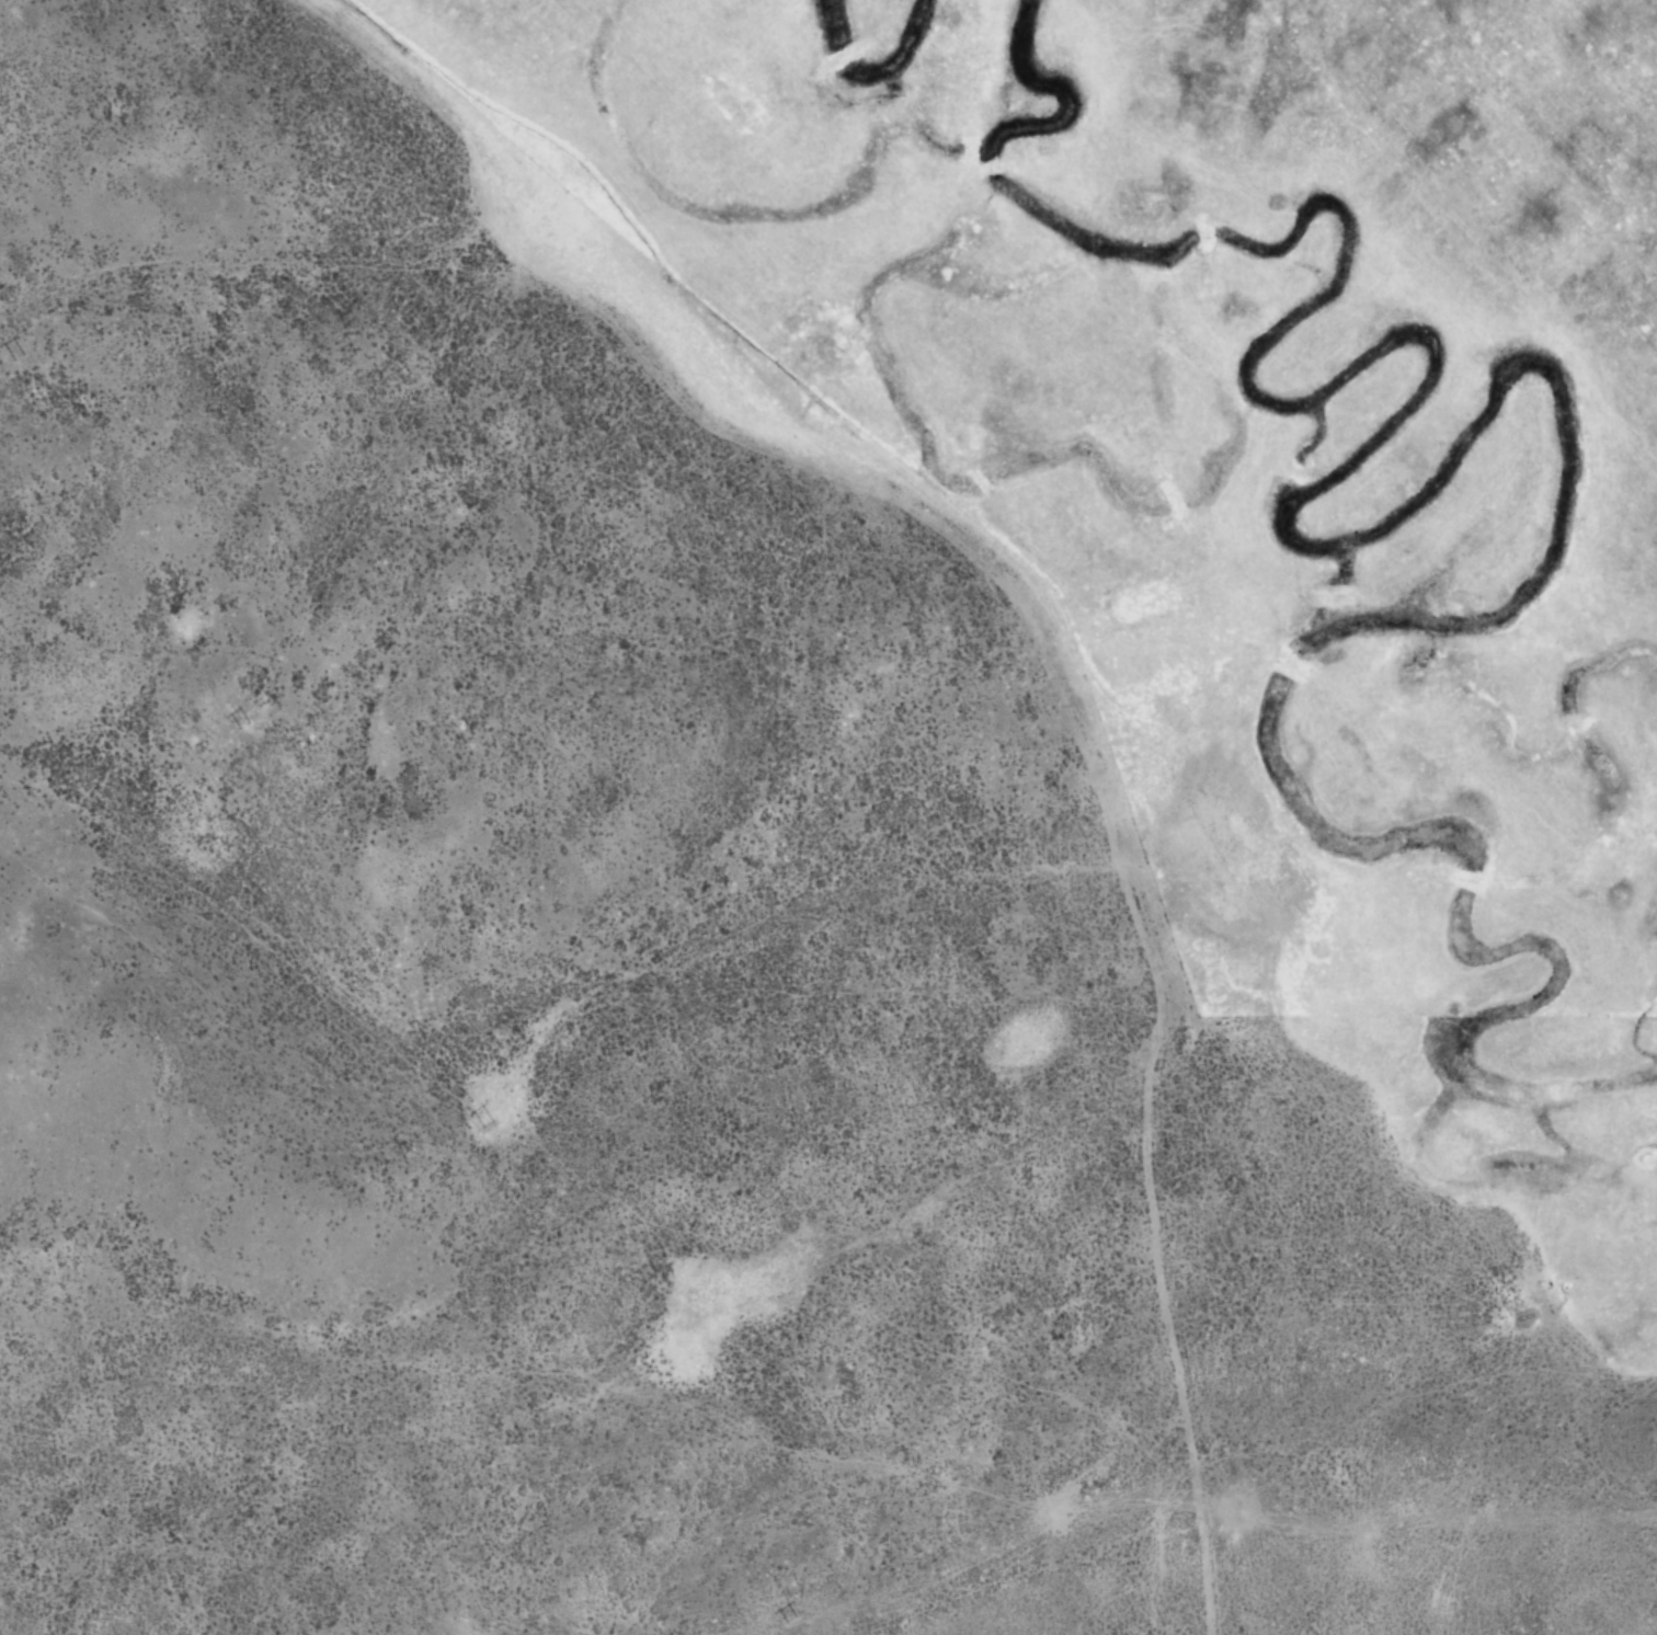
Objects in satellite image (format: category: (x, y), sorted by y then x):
power tower: (7, 364)
power tower: (237, 727)
power tower: (479, 1129)
power tower: (780, 1621)

